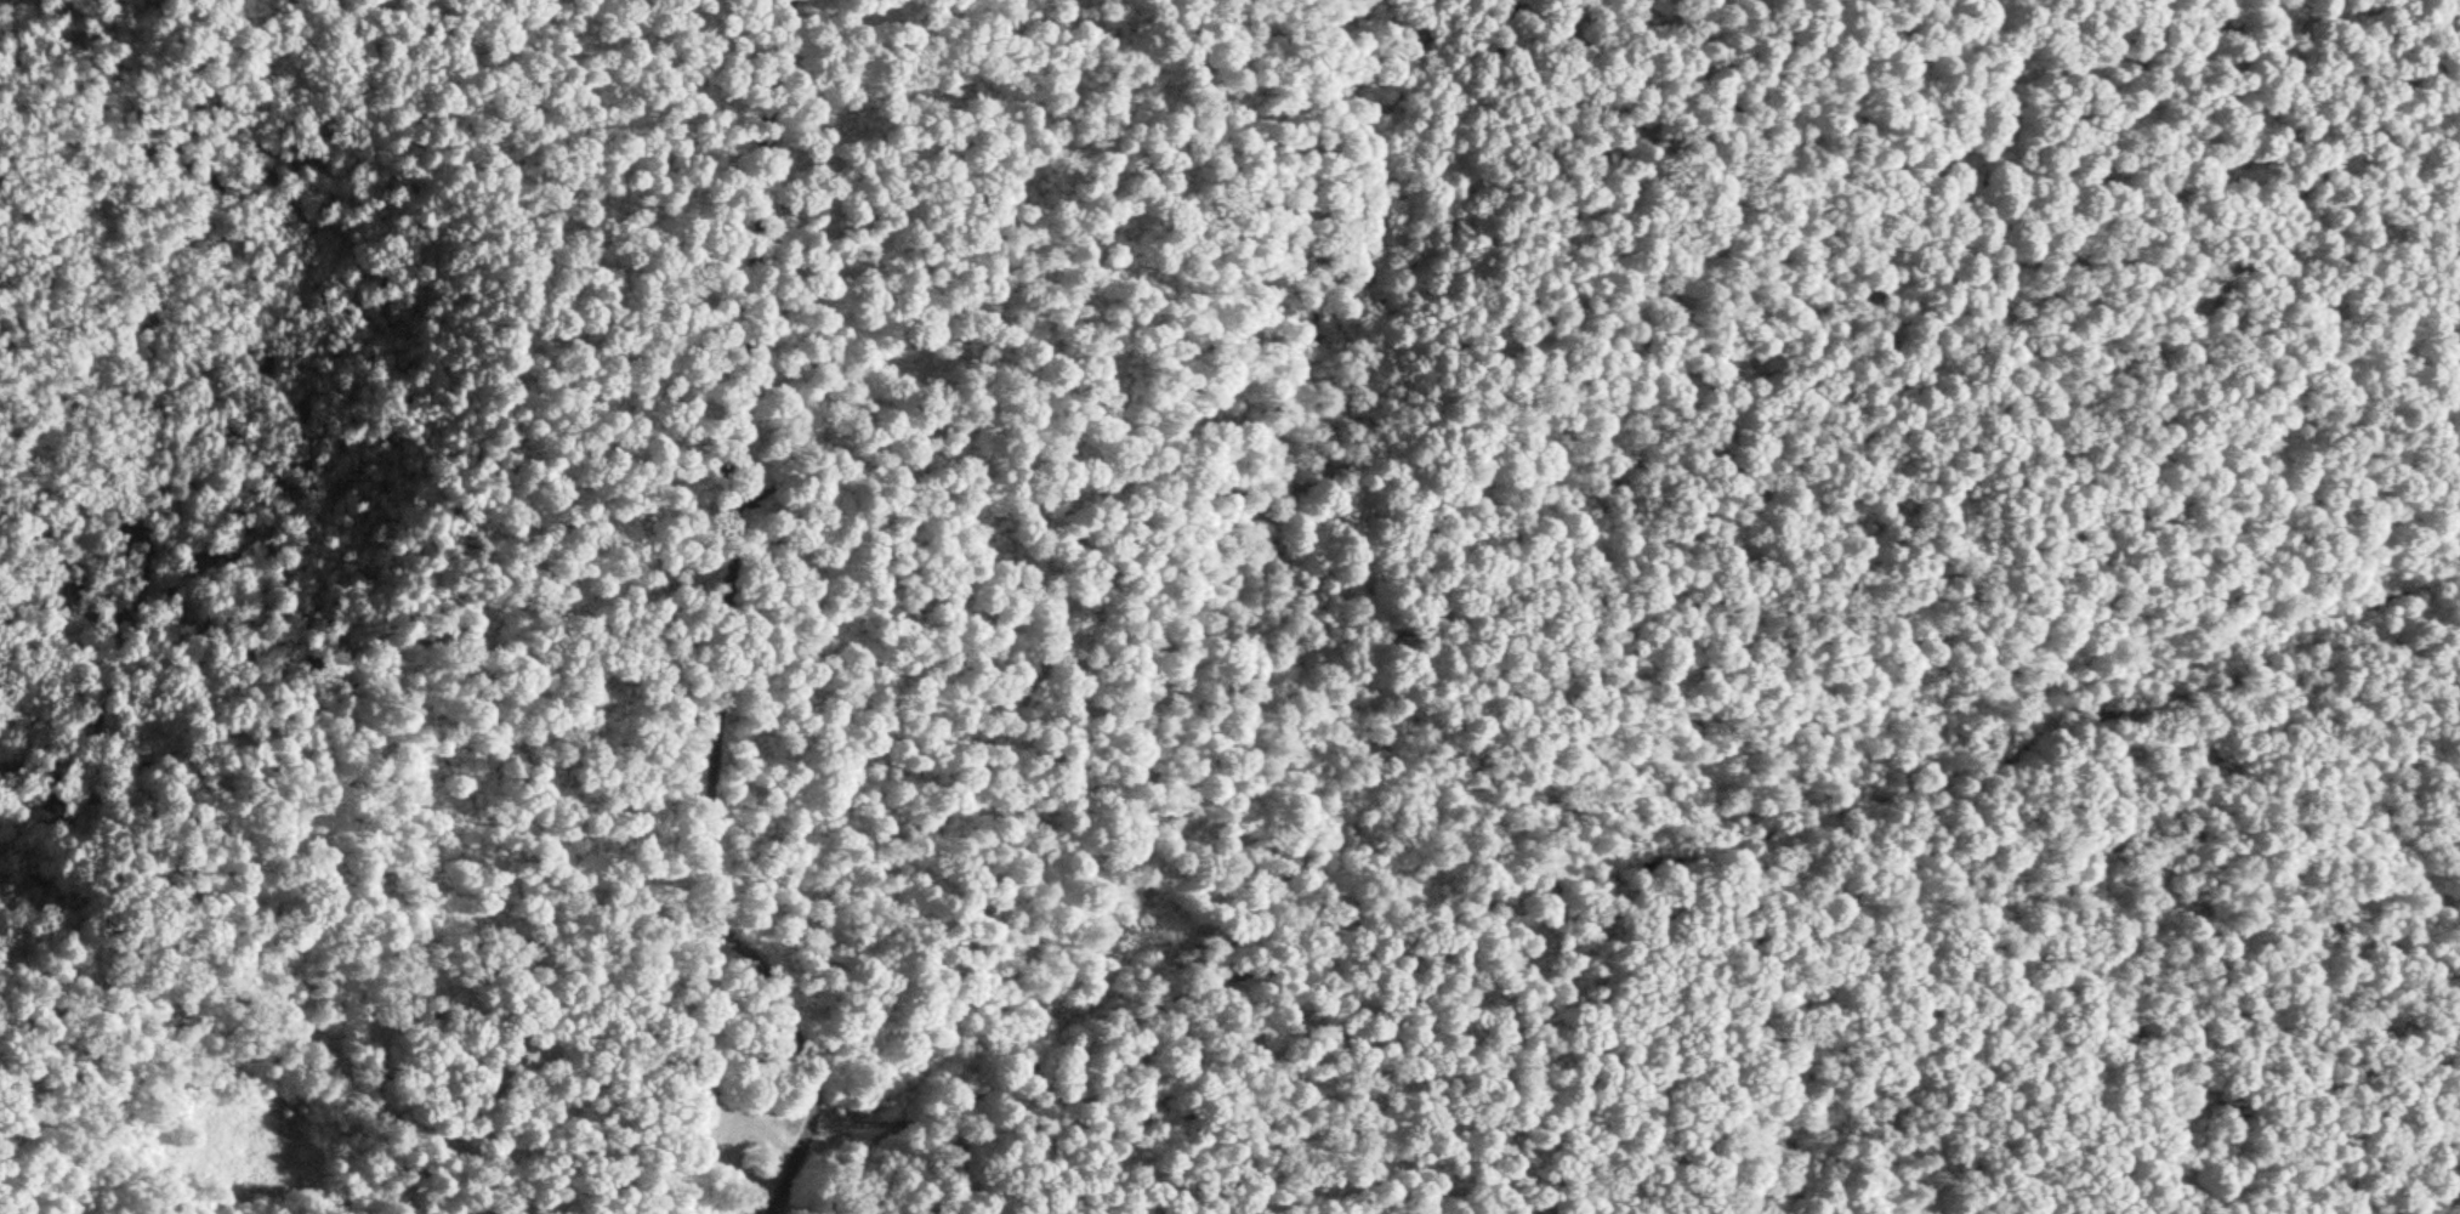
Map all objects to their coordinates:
road: (433, 520)
road: (714, 624)
road: (1618, 867)
road: (414, 943)
road: (58, 994)
road: (699, 1142)
parking lot: (732, 1150)

